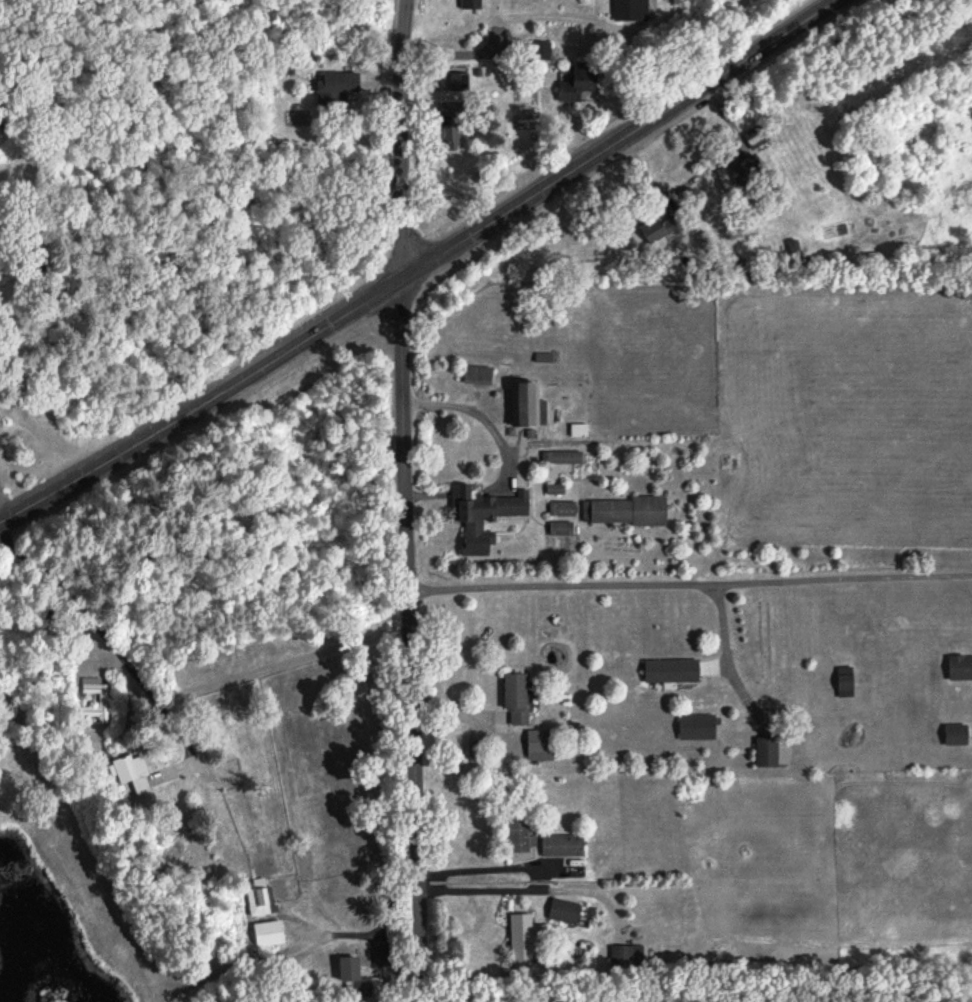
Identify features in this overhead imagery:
building: (472, 5)
building: (631, 10)
road: (505, 22)
building: (459, 83)
building: (580, 84)
building: (337, 90)
building: (757, 138)
building: (451, 139)
road: (700, 172)
building: (750, 177)
building: (661, 231)
road: (422, 267)
building: (479, 378)
road: (419, 403)
building: (528, 406)
road: (490, 426)
building: (580, 432)
building: (563, 460)
road: (405, 500)
road: (4, 507)
building: (562, 511)
building: (628, 513)
building: (484, 518)
building: (562, 530)
road: (690, 585)
road: (87, 618)
building: (960, 669)
building: (672, 672)
building: (846, 683)
building: (518, 701)
building: (102, 702)
road: (470, 716)
building: (698, 728)
building: (957, 736)
building: (541, 743)
building: (772, 754)
building: (135, 775)
building: (519, 830)
building: (563, 847)
road: (540, 876)
building: (260, 900)
building: (566, 913)
building: (271, 935)
building: (527, 937)
building: (627, 958)
building: (360, 983)

